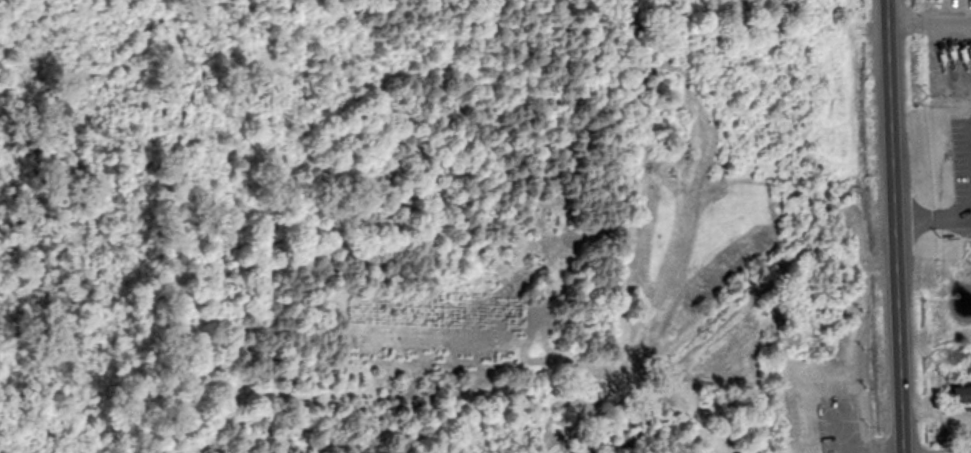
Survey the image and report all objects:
road: (929, 22)
road: (932, 219)
road: (894, 226)
building: (964, 393)

